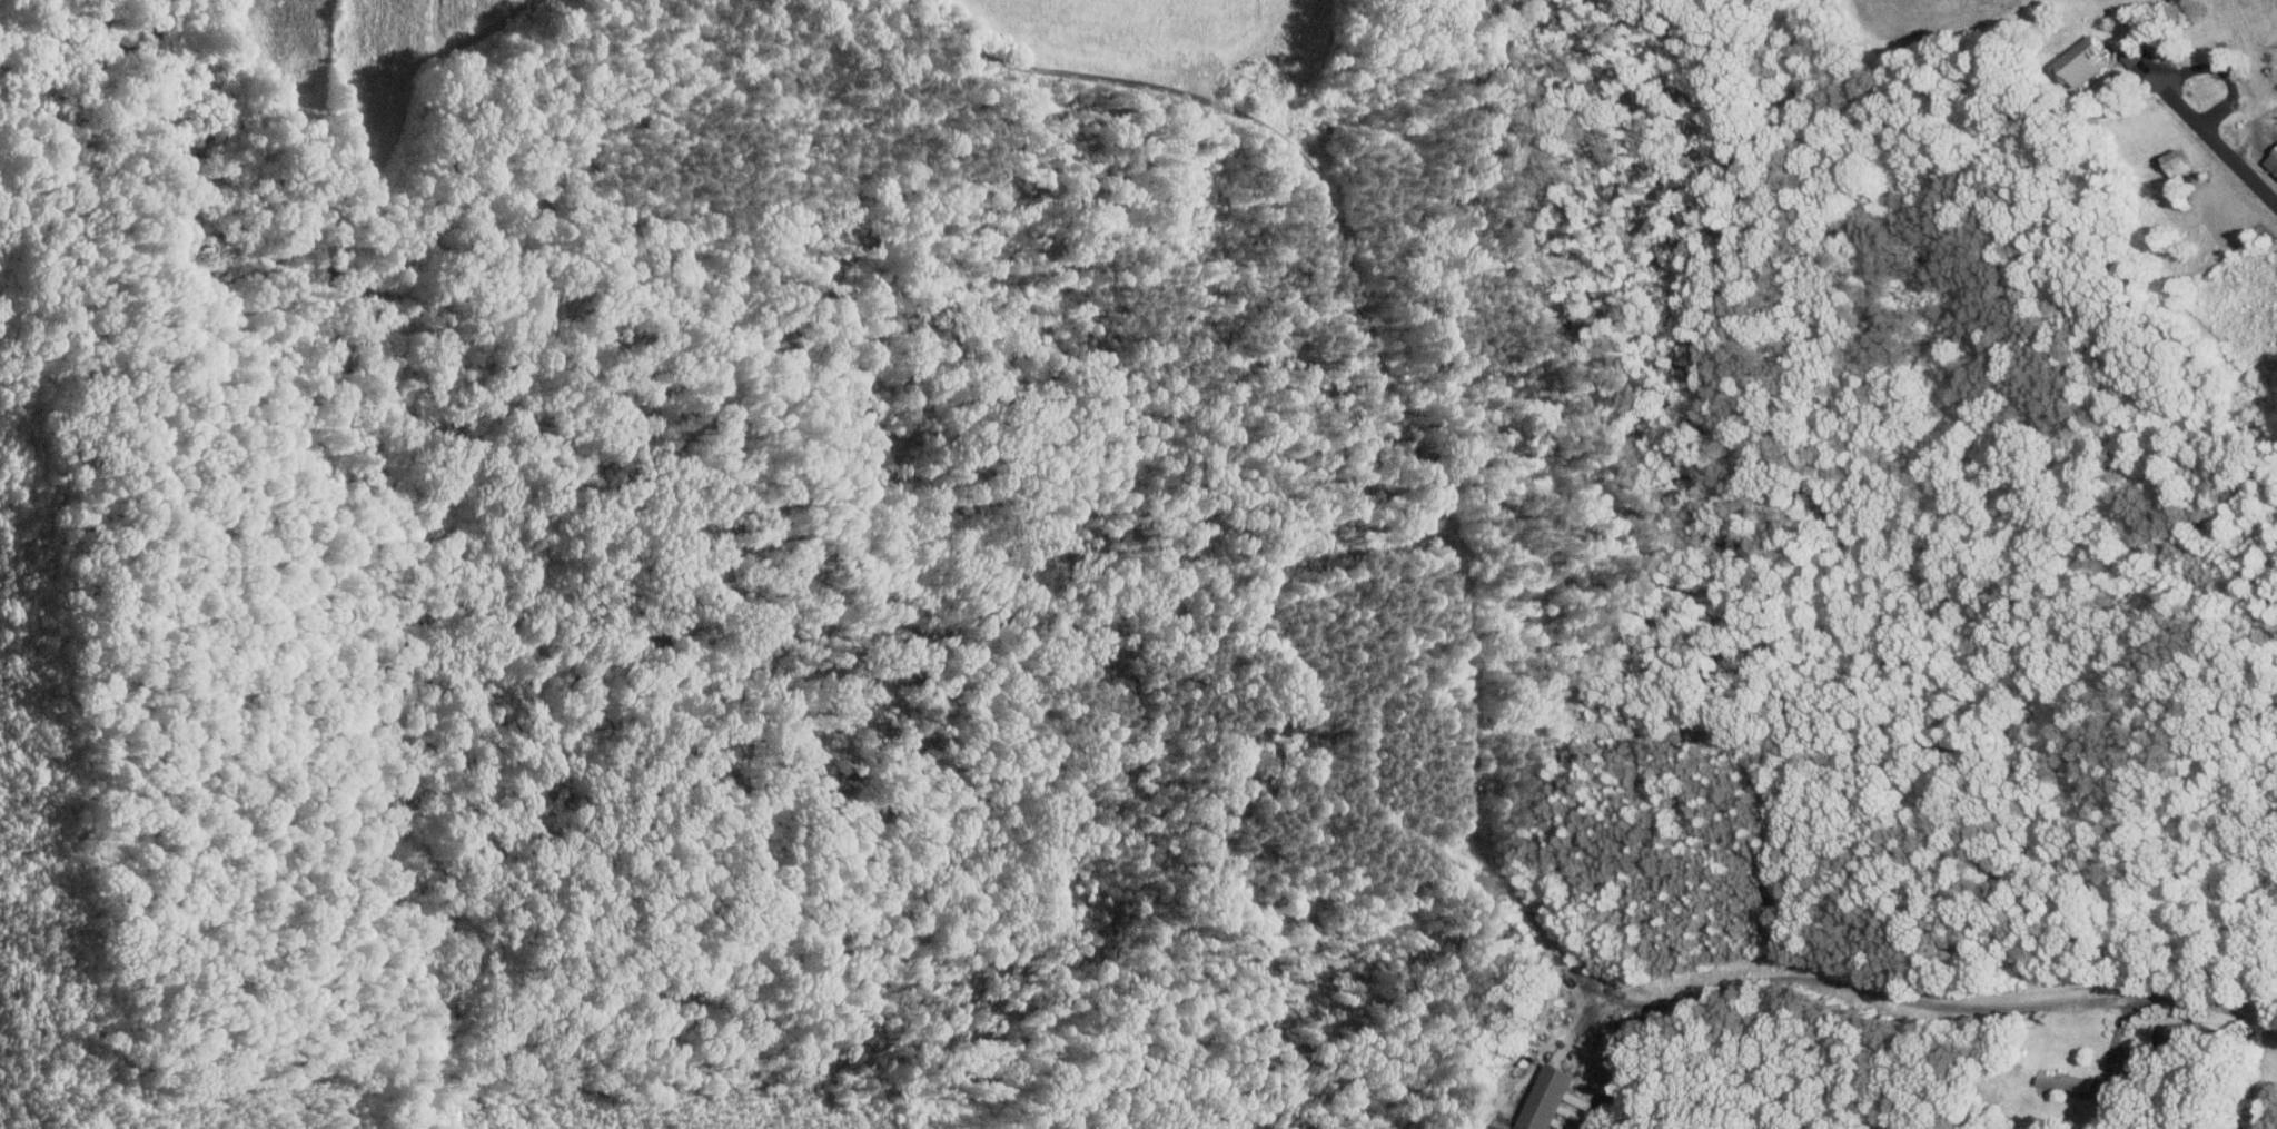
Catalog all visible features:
building: (2080, 61)
road: (2169, 99)
road: (2250, 130)
building: (2271, 161)
building: (2177, 162)
road: (1942, 1004)
building: (2178, 1028)
road: (2113, 1040)
building: (2067, 1082)
building: (1544, 1097)

